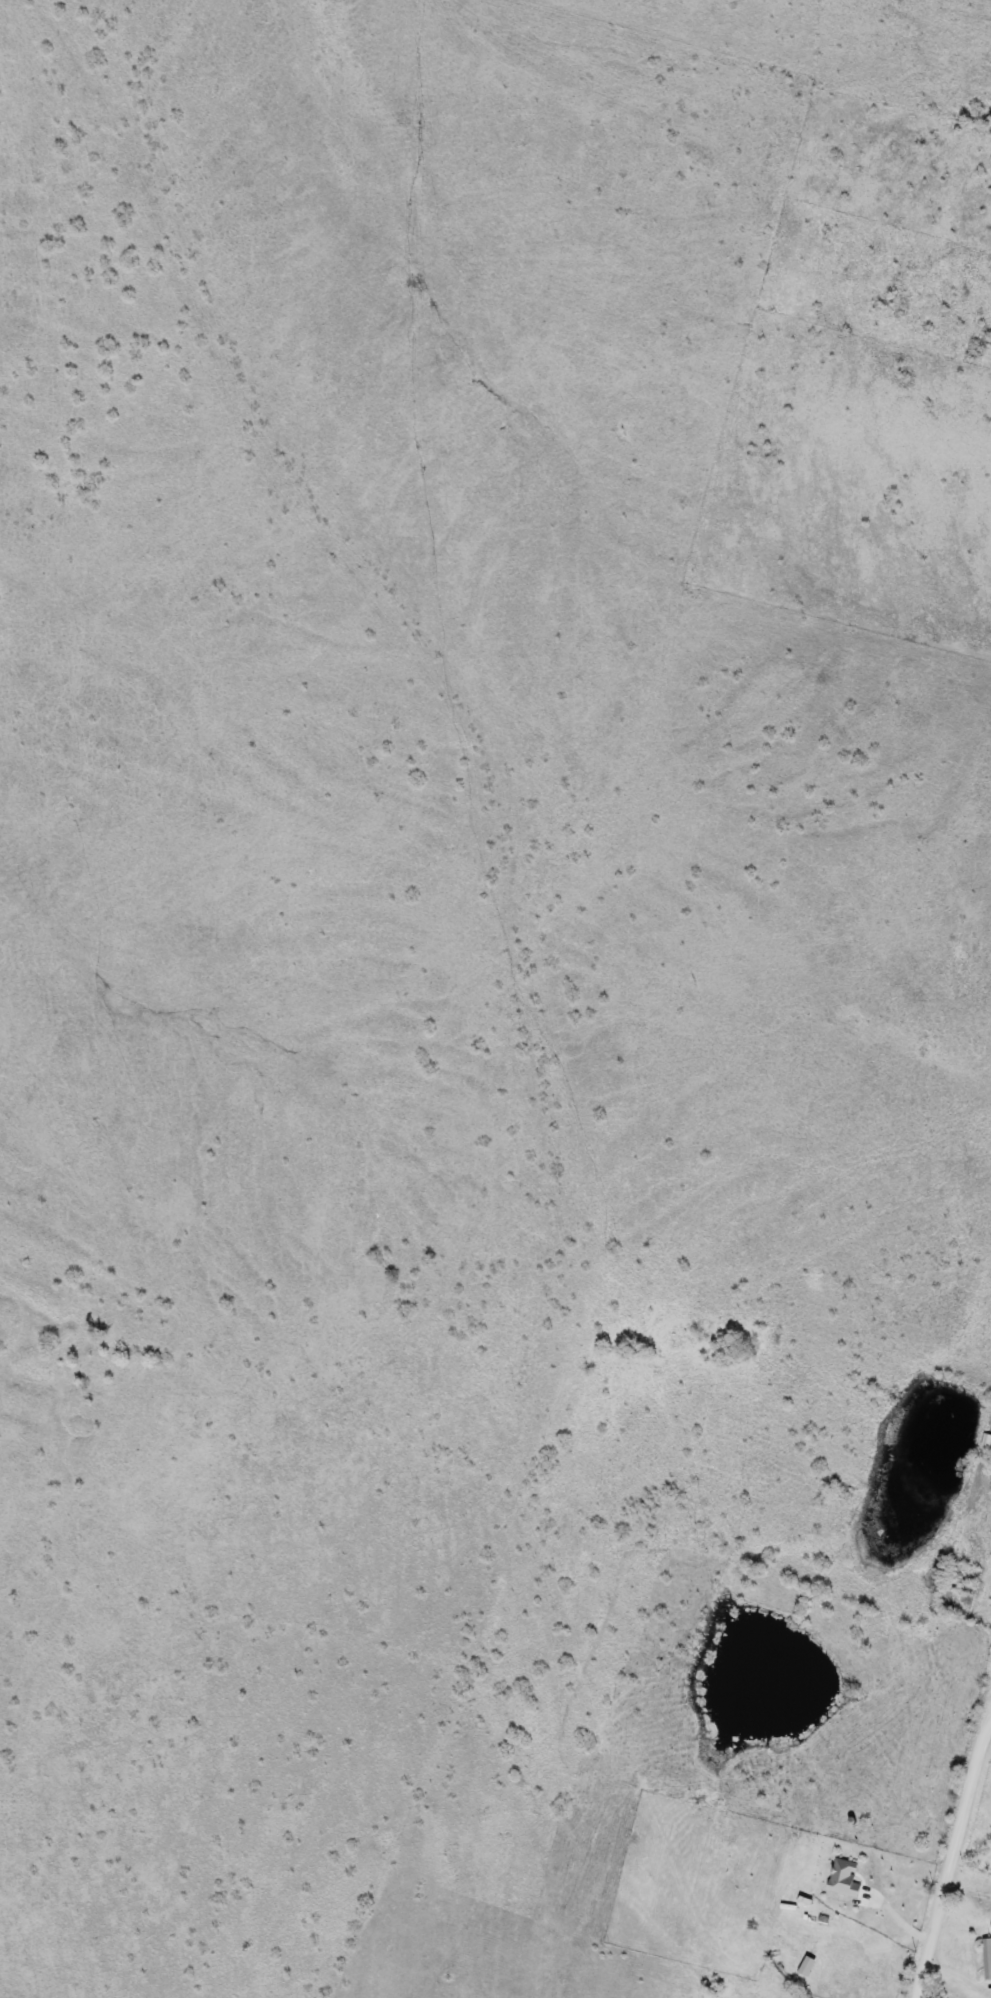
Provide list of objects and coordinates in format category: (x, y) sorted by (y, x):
road: (990, 1725)
road: (952, 1861)
building: (988, 1958)
road: (951, 1976)

